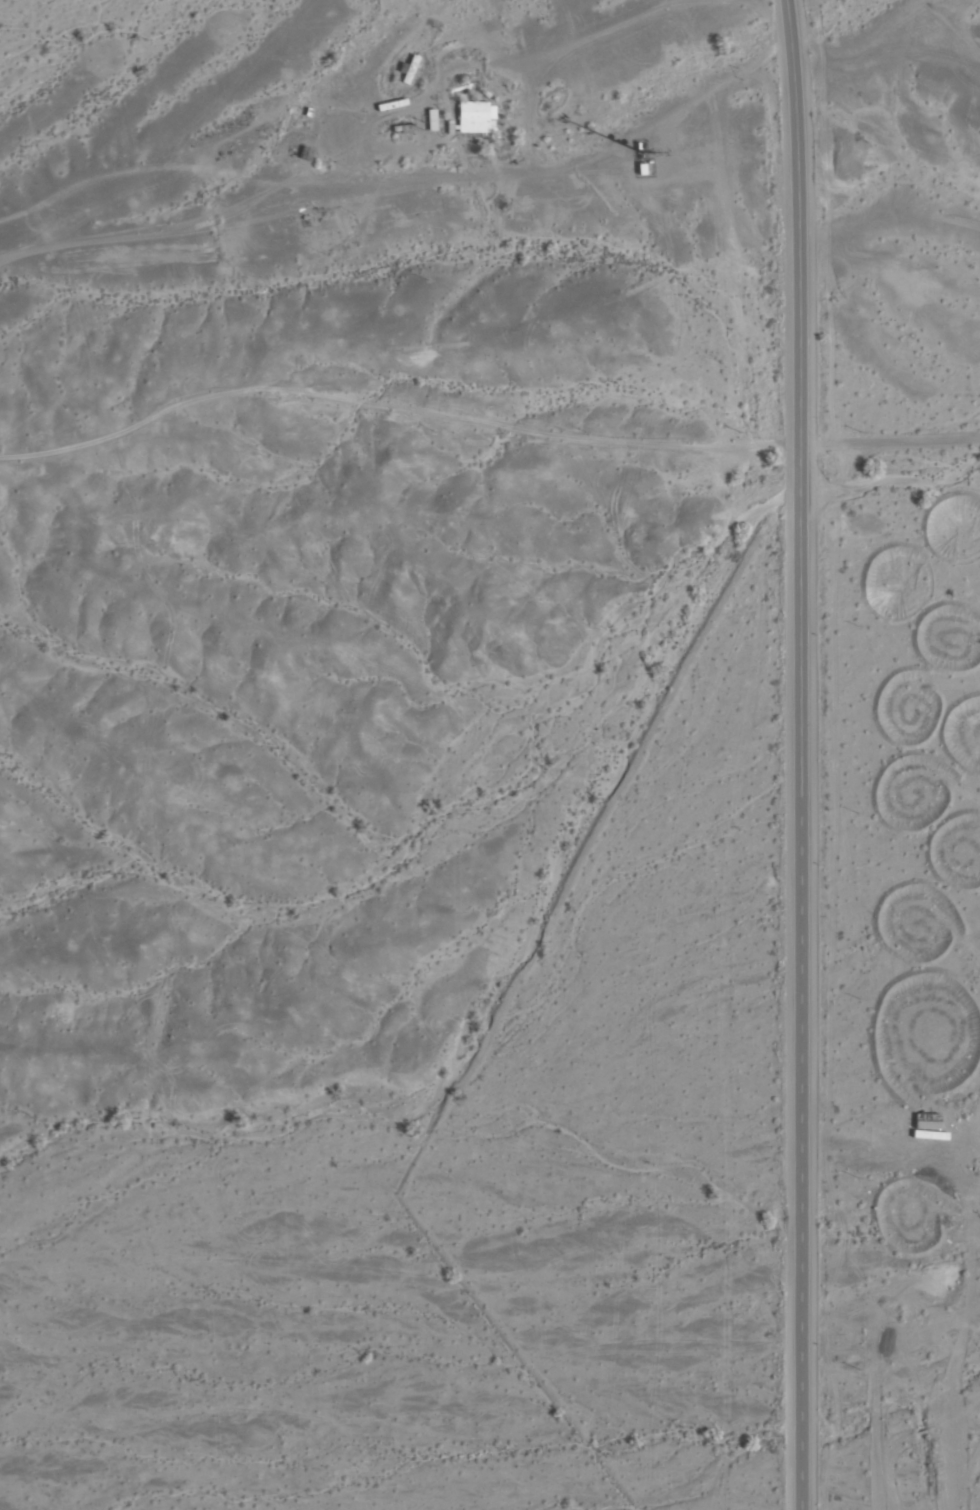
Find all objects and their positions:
building: (473, 117)
road: (398, 410)
road: (807, 754)

